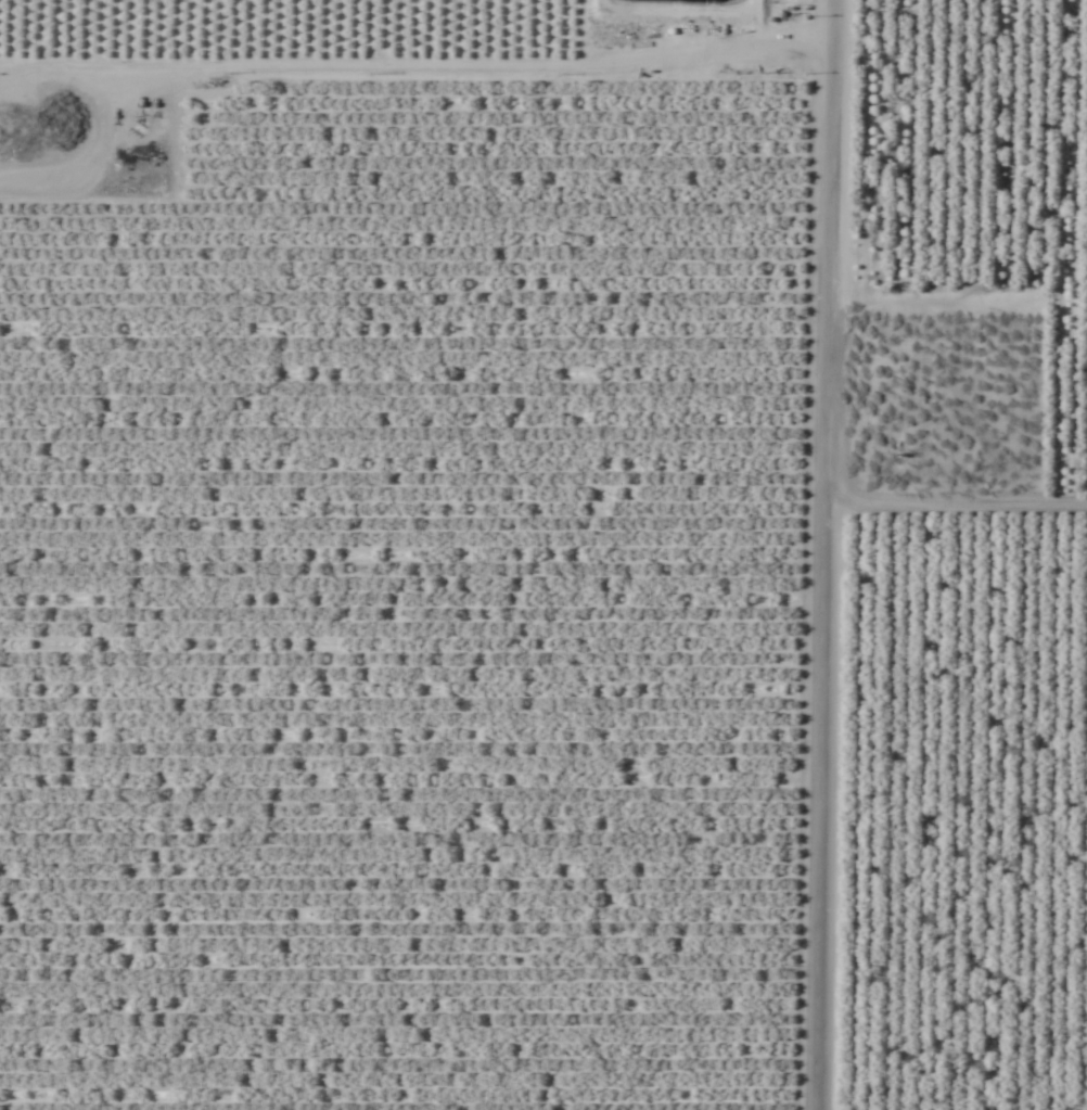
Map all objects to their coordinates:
road: (414, 5)
wastewater plant: (78, 131)
road: (955, 464)
crop: (543, 554)
road: (821, 554)

